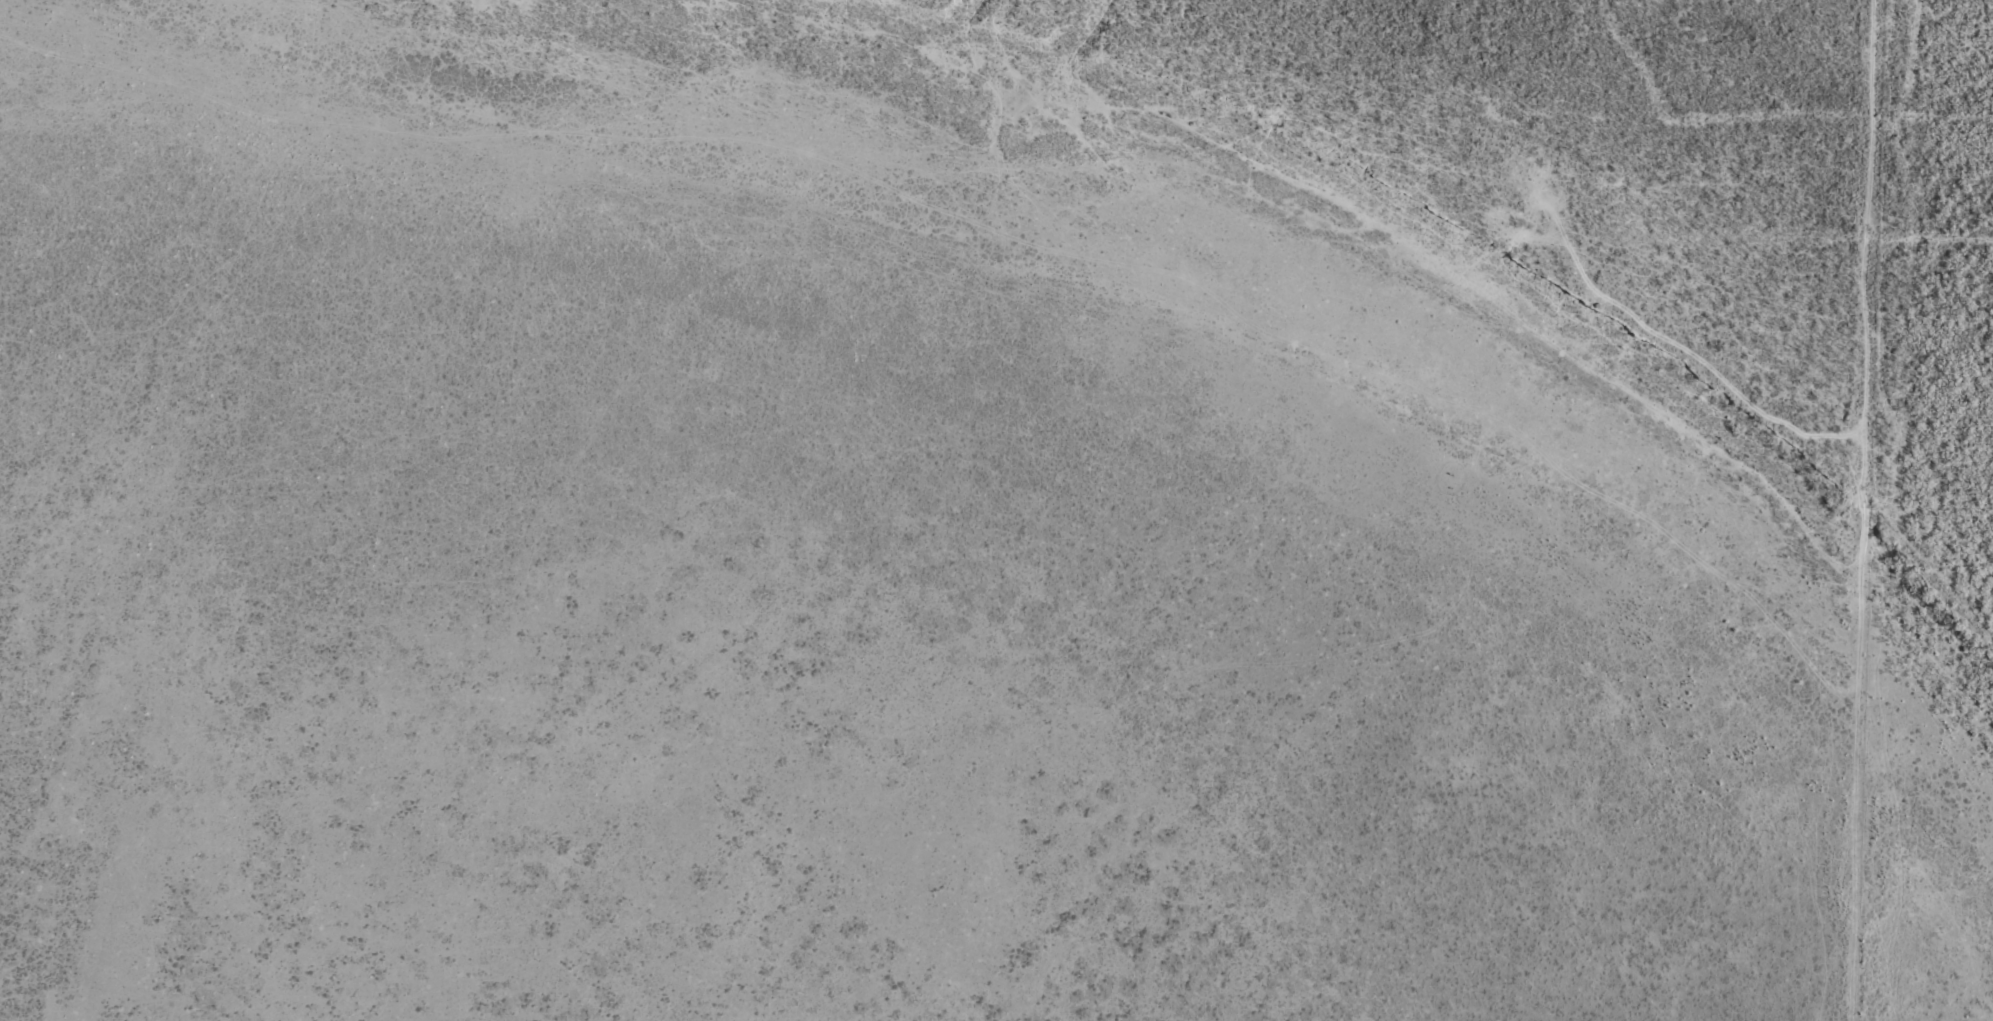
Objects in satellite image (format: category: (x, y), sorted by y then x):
road: (1800, 229)

